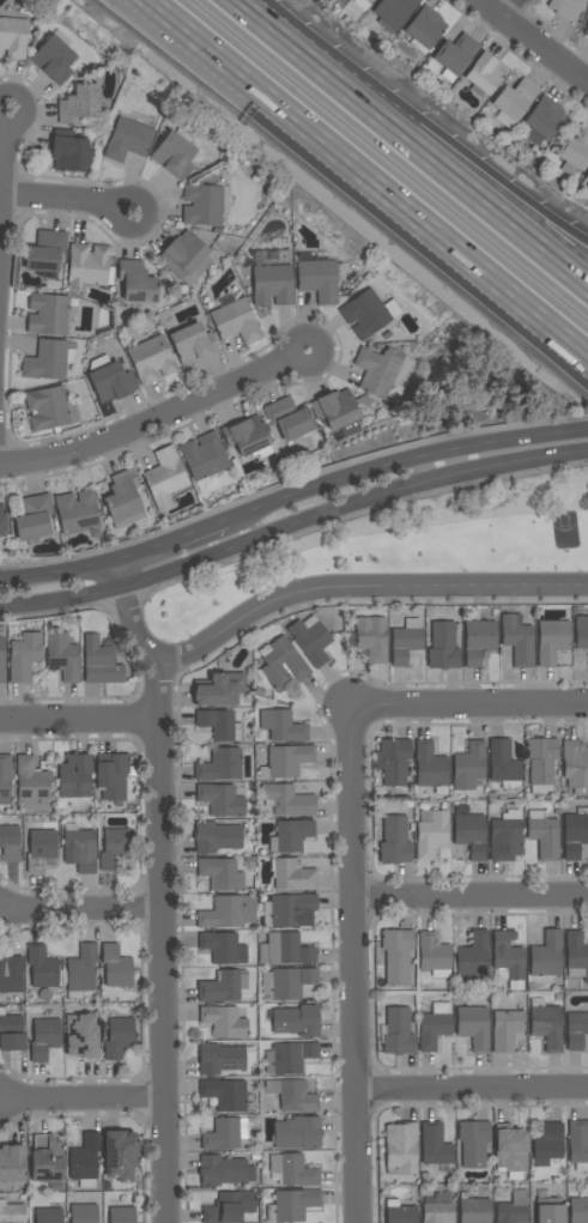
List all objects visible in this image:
building: (340, 4)
building: (362, 6)
road: (508, 8)
building: (565, 8)
building: (393, 12)
building: (425, 28)
building: (586, 30)
building: (13, 37)
road: (283, 37)
road: (534, 40)
building: (456, 54)
building: (53, 59)
building: (485, 74)
building: (513, 101)
building: (79, 104)
building: (542, 120)
building: (128, 140)
building: (68, 151)
building: (574, 152)
building: (174, 153)
road: (457, 159)
road: (4, 168)
building: (587, 171)
road: (370, 176)
road: (459, 181)
road: (68, 198)
building: (202, 205)
building: (44, 250)
building: (186, 258)
building: (87, 264)
building: (317, 279)
building: (135, 281)
building: (271, 283)
building: (368, 313)
building: (48, 314)
building: (236, 321)
building: (192, 344)
building: (151, 357)
building: (48, 361)
building: (378, 370)
building: (111, 382)
building: (50, 408)
building: (335, 410)
road: (157, 418)
building: (287, 419)
building: (245, 435)
building: (204, 458)
road: (402, 461)
building: (164, 478)
building: (122, 495)
road: (351, 505)
building: (77, 511)
road: (359, 513)
building: (32, 517)
building: (1, 521)
park: (565, 529)
road: (171, 541)
park: (399, 549)
road: (59, 574)
road: (120, 574)
road: (363, 586)
road: (61, 597)
road: (135, 626)
building: (581, 632)
building: (371, 638)
building: (311, 640)
building: (406, 641)
building: (478, 641)
building: (519, 641)
building: (551, 641)
building: (443, 647)
building: (24, 656)
building: (62, 656)
road: (132, 659)
building: (2, 662)
building: (101, 662)
building: (283, 665)
building: (220, 690)
road: (471, 704)
road: (80, 720)
building: (219, 725)
building: (283, 726)
building: (286, 761)
building: (393, 761)
building: (541, 763)
building: (575, 763)
building: (220, 764)
building: (504, 764)
building: (468, 765)
building: (430, 767)
building: (74, 776)
building: (113, 776)
building: (5, 779)
building: (31, 785)
building: (220, 800)
building: (287, 800)
building: (431, 834)
building: (544, 834)
building: (575, 834)
building: (291, 835)
building: (471, 835)
building: (216, 836)
building: (505, 837)
building: (395, 841)
building: (10, 843)
building: (41, 846)
building: (79, 848)
building: (115, 849)
building: (222, 873)
building: (292, 874)
road: (472, 896)
road: (81, 908)
building: (292, 909)
building: (228, 913)
road: (163, 942)
building: (223, 947)
building: (285, 950)
building: (432, 952)
building: (473, 955)
building: (576, 955)
building: (396, 956)
building: (507, 957)
building: (545, 958)
road: (356, 963)
building: (116, 967)
building: (42, 968)
building: (81, 969)
building: (11, 974)
building: (287, 983)
building: (223, 986)
building: (297, 1021)
building: (224, 1022)
building: (546, 1024)
building: (434, 1027)
building: (473, 1027)
building: (507, 1028)
building: (576, 1030)
building: (11, 1031)
building: (398, 1033)
building: (81, 1034)
building: (119, 1037)
building: (44, 1039)
building: (222, 1058)
building: (289, 1058)
road: (472, 1089)
building: (224, 1094)
building: (292, 1095)
road: (83, 1097)
building: (298, 1132)
building: (225, 1133)
building: (473, 1143)
building: (547, 1144)
building: (578, 1144)
building: (435, 1145)
building: (402, 1148)
building: (509, 1150)
building: (119, 1155)
building: (47, 1160)
building: (84, 1162)
building: (12, 1163)
building: (293, 1170)
building: (224, 1171)
building: (292, 1205)
building: (230, 1207)
building: (473, 1209)
building: (513, 1209)
building: (548, 1209)
building: (578, 1210)
building: (12, 1212)
building: (399, 1212)
building: (83, 1213)
building: (437, 1213)
building: (121, 1215)
building: (48, 1216)

